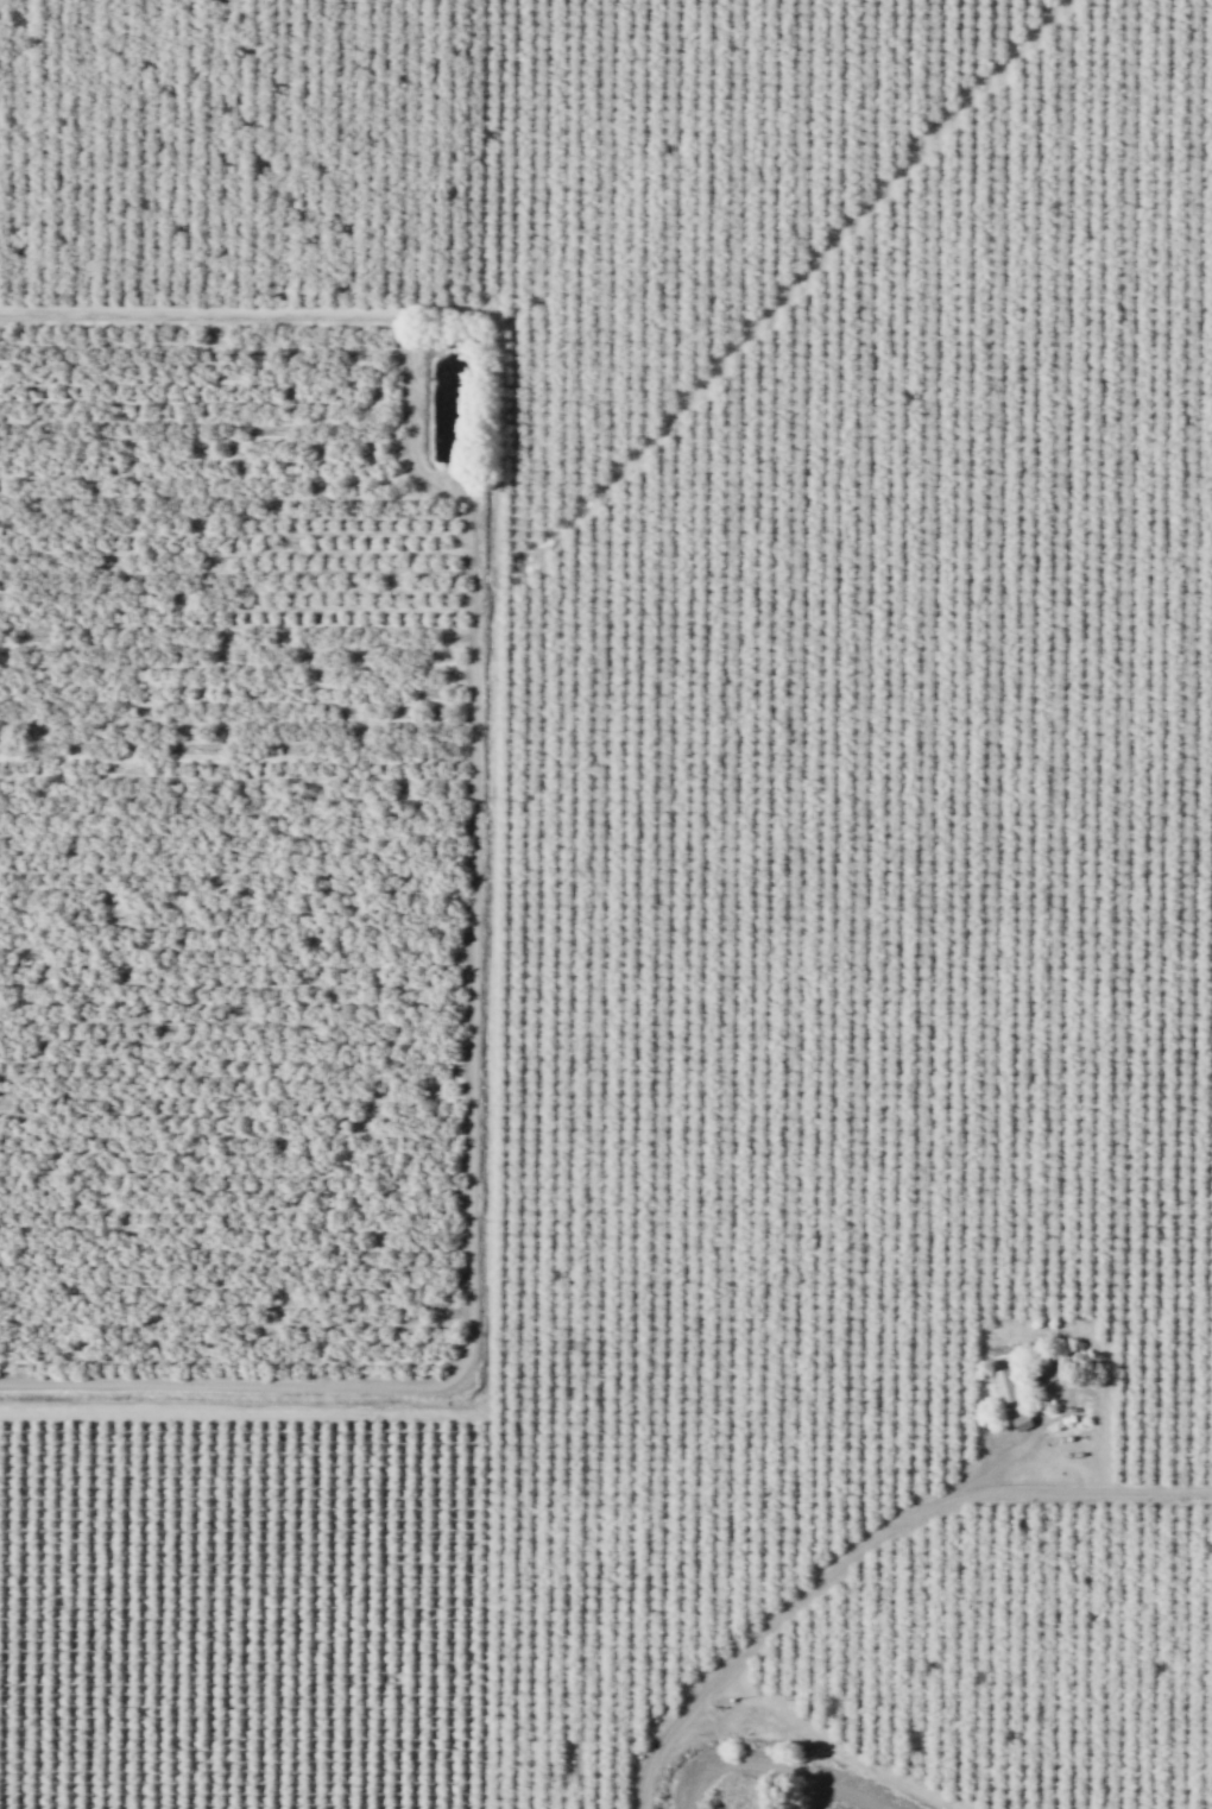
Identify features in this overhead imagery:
road: (796, 284)
road: (494, 811)
building: (1004, 1385)
building: (1022, 1420)
road: (1040, 1483)
road: (736, 1649)
road: (832, 1746)

